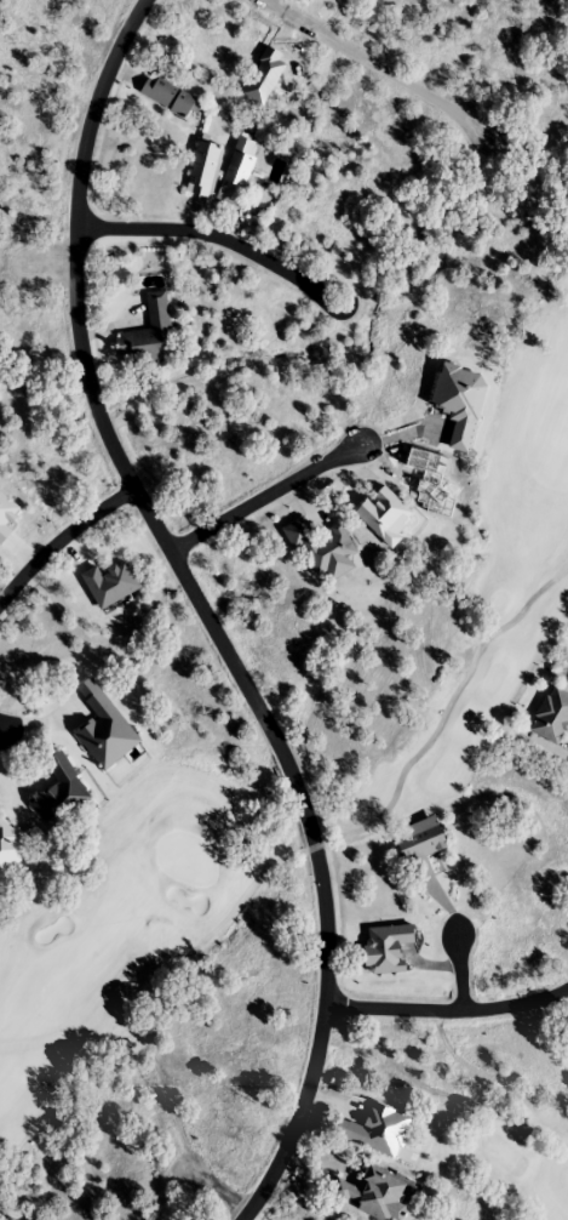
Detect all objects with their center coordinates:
road: (377, 65)
building: (168, 97)
building: (205, 170)
building: (239, 172)
road: (214, 236)
building: (145, 346)
road: (263, 495)
building: (386, 518)
road: (59, 537)
building: (323, 549)
road: (202, 612)
building: (552, 718)
building: (104, 730)
park: (288, 785)
building: (63, 788)
building: (420, 839)
building: (10, 849)
road: (459, 971)
road: (448, 1010)
park: (512, 1147)
road: (220, 1191)
building: (377, 1195)

